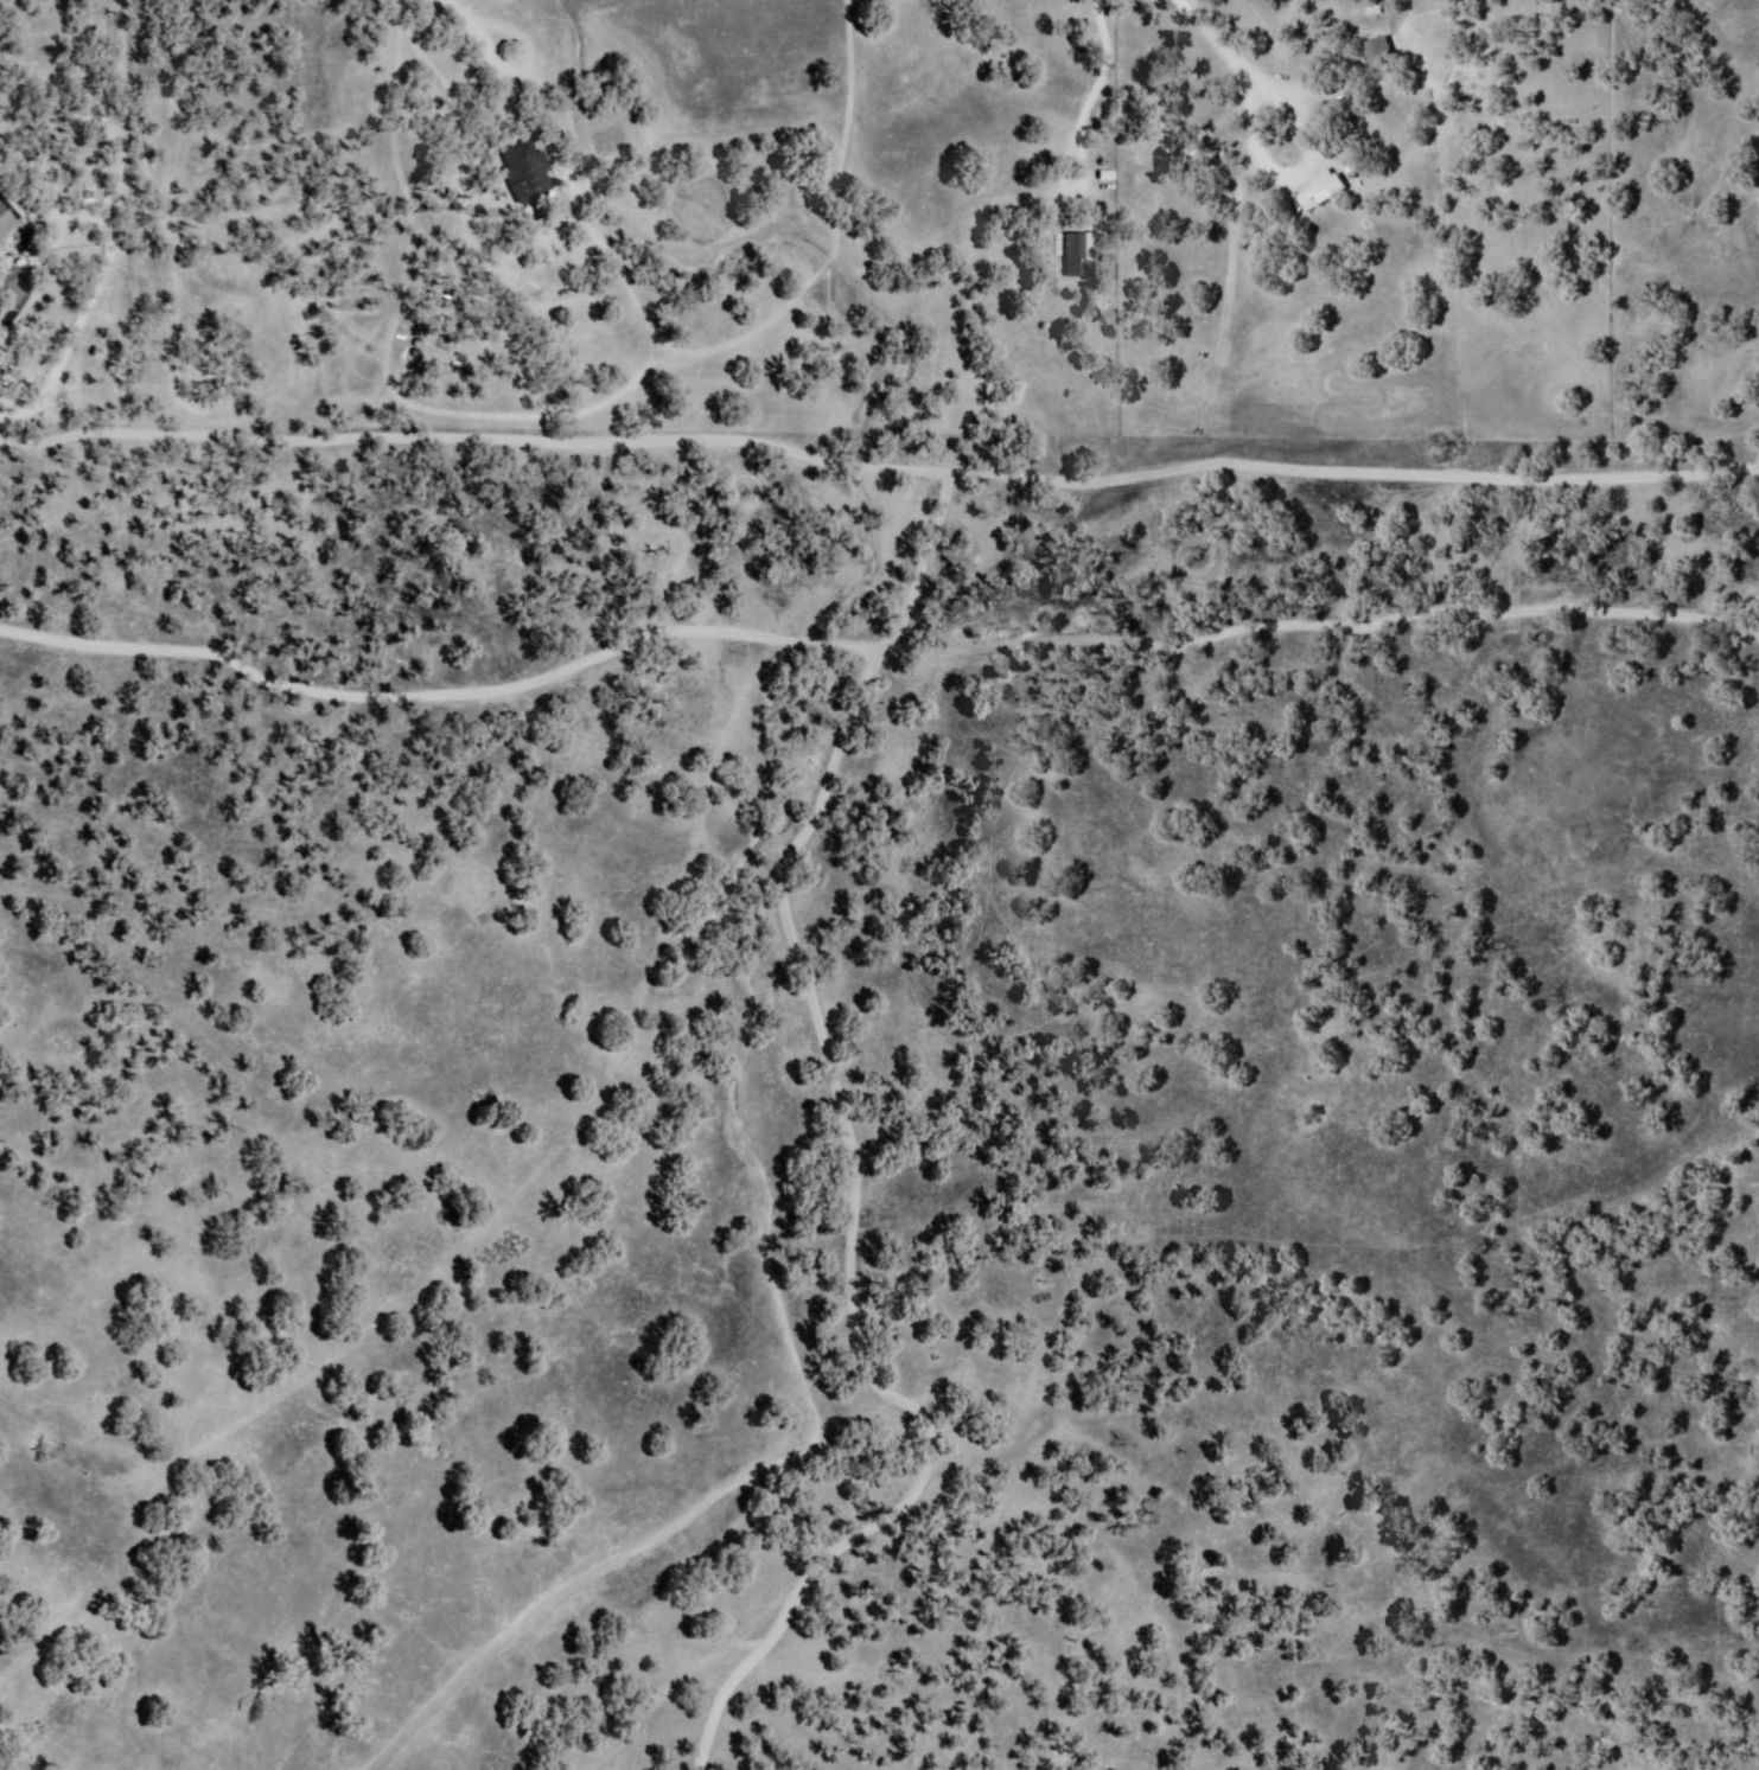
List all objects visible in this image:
building: (1377, 52)
building: (524, 171)
building: (1326, 190)
building: (5, 222)
building: (1076, 256)
road: (1576, 365)
road: (617, 860)

